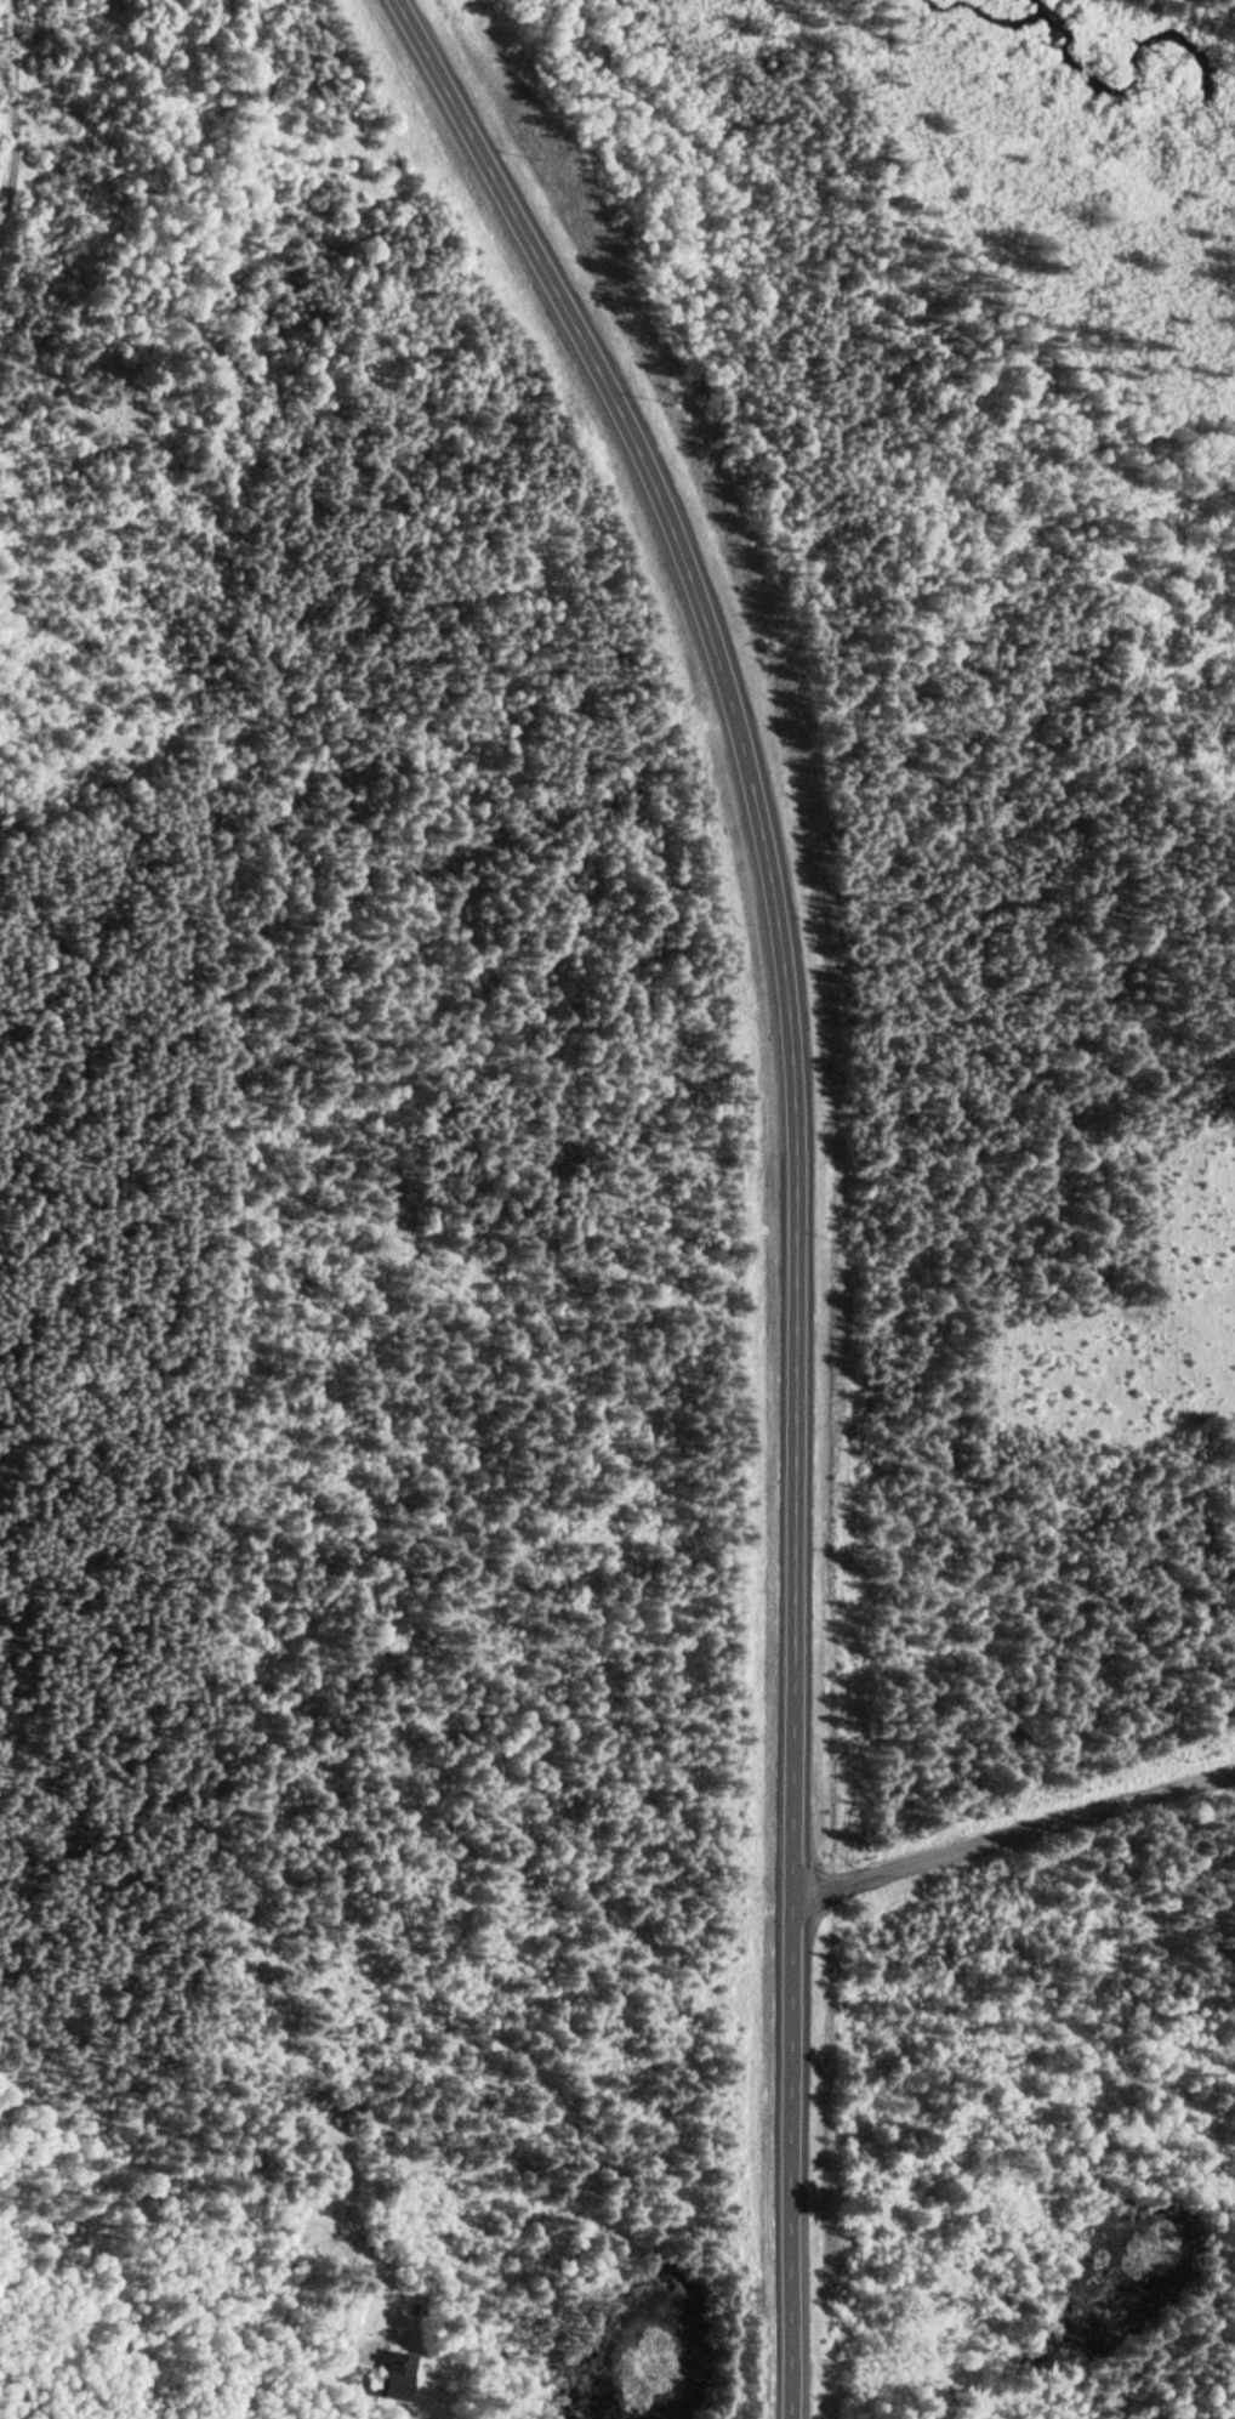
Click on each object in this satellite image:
road: (796, 1168)
road: (1012, 1836)
building: (393, 2374)

